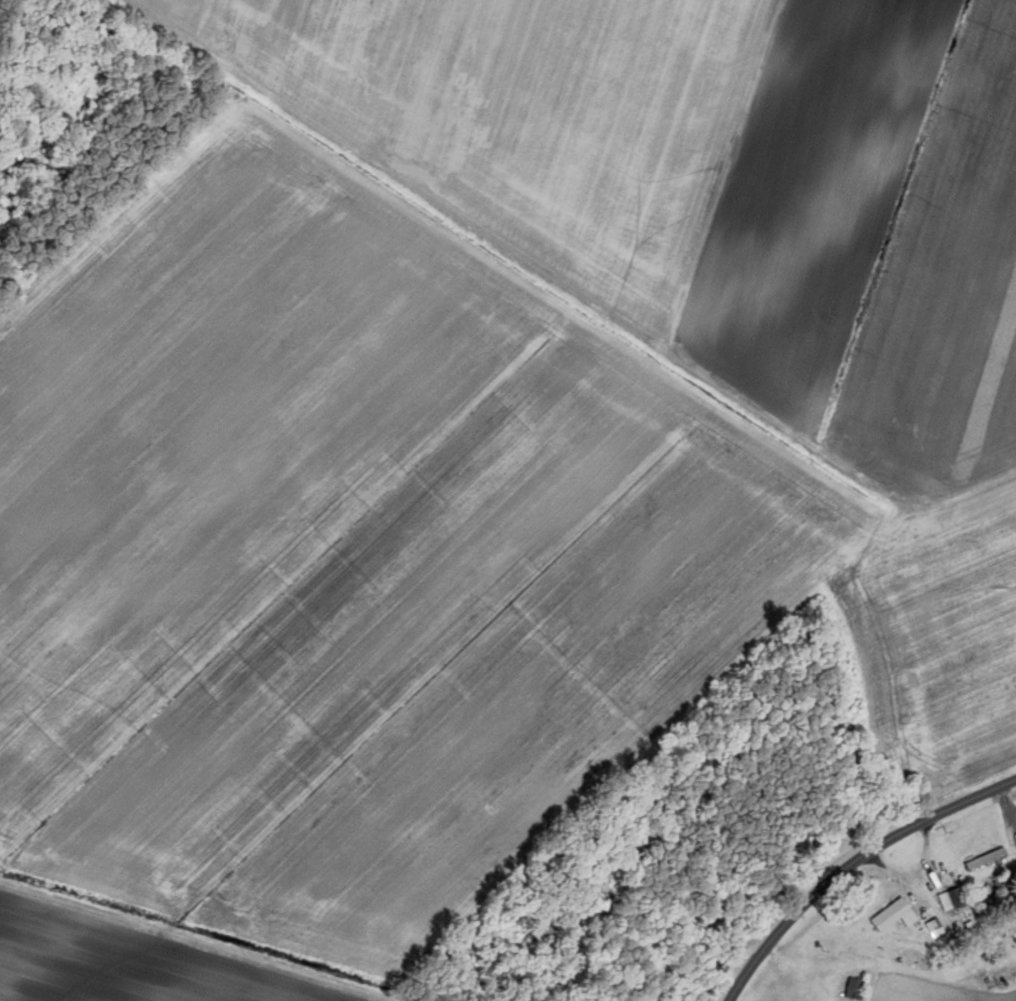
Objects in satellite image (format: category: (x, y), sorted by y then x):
building: (987, 859)
road: (848, 862)
building: (954, 899)
building: (1003, 901)
building: (896, 916)
building: (855, 988)
building: (992, 996)

